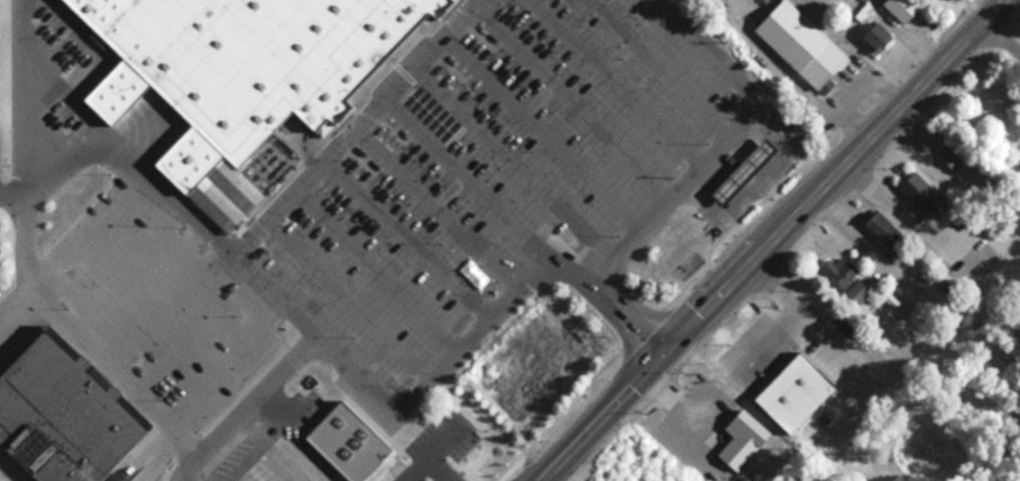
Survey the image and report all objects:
building: (907, 8)
road: (1002, 34)
building: (880, 35)
building: (805, 45)
building: (249, 62)
road: (666, 63)
road: (622, 78)
road: (19, 91)
road: (578, 94)
road: (547, 122)
road: (357, 124)
road: (717, 139)
road: (518, 154)
building: (955, 158)
road: (469, 169)
building: (751, 171)
gas station: (751, 171)
road: (440, 200)
road: (895, 211)
road: (409, 230)
building: (890, 234)
road: (767, 239)
road: (871, 247)
road: (379, 259)
road: (349, 291)
road: (339, 350)
road: (142, 385)
road: (683, 389)
building: (798, 393)
building: (71, 411)
building: (746, 440)
road: (192, 464)
building: (466, 471)
road: (544, 476)

